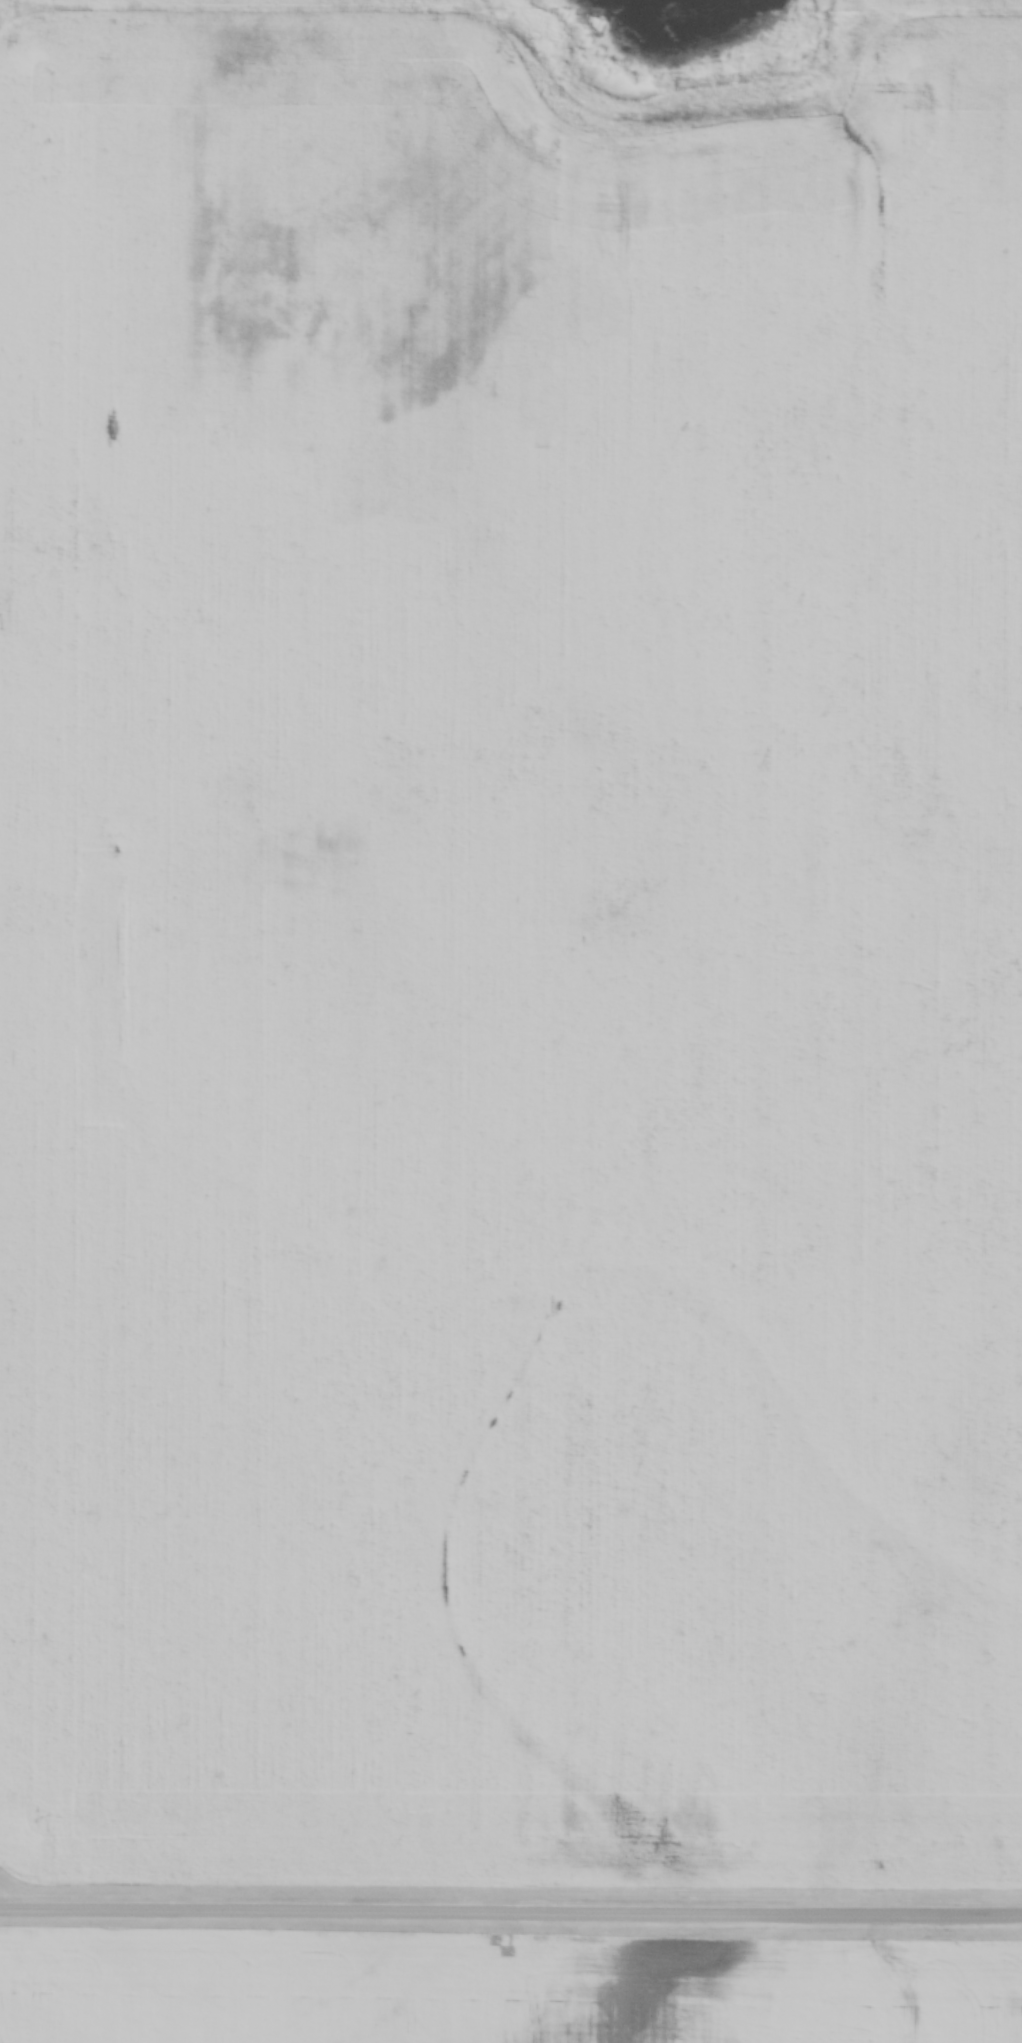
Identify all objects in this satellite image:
road: (511, 1913)

